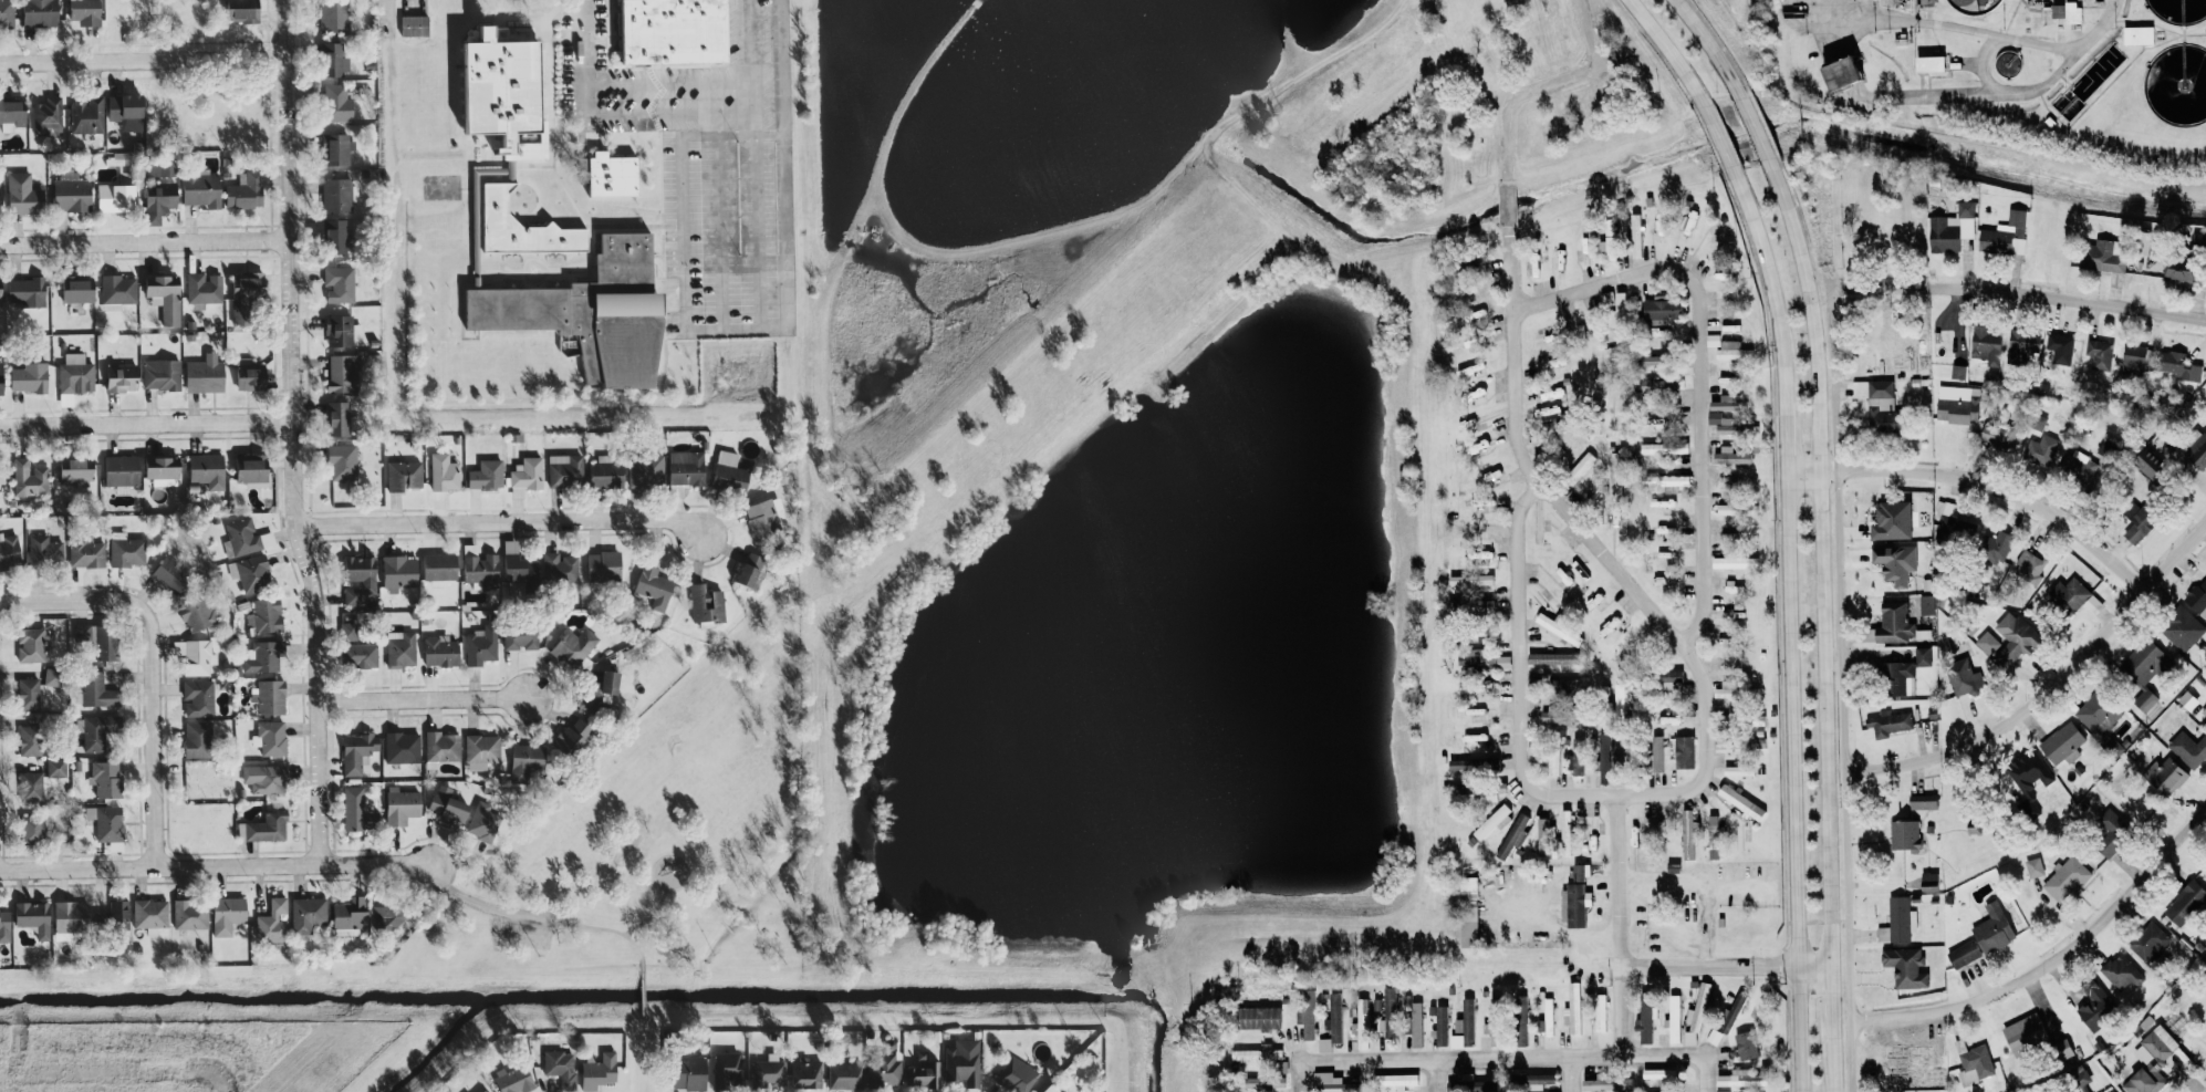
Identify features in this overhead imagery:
building: (1927, 2)
building: (243, 10)
building: (86, 11)
building: (2069, 11)
building: (7, 12)
building: (41, 12)
road: (1879, 13)
road: (1907, 13)
road: (1842, 14)
building: (334, 15)
road: (385, 15)
building: (415, 25)
road: (1959, 30)
building: (672, 31)
building: (2141, 34)
road: (585, 42)
road: (1707, 42)
road: (1665, 51)
building: (335, 58)
road: (142, 60)
building: (1935, 63)
road: (1979, 67)
wastewater plant: (2007, 73)
building: (1850, 74)
road: (655, 82)
building: (500, 89)
road: (1944, 100)
building: (337, 103)
building: (126, 106)
road: (670, 112)
building: (12, 114)
building: (87, 115)
building: (48, 116)
road: (1751, 122)
road: (1716, 135)
building: (339, 147)
road: (756, 163)
building: (160, 165)
building: (614, 175)
building: (0, 183)
river: (1577, 187)
building: (202, 189)
building: (72, 190)
building: (23, 194)
road: (787, 194)
building: (340, 195)
building: (117, 197)
building: (160, 199)
road: (721, 220)
building: (1954, 227)
building: (521, 228)
road: (683, 232)
building: (1637, 233)
building: (2007, 233)
building: (335, 236)
road: (144, 241)
building: (1613, 241)
building: (2104, 254)
building: (2183, 268)
building: (340, 283)
building: (204, 287)
building: (1, 288)
building: (79, 288)
building: (28, 290)
building: (118, 290)
road: (2018, 291)
building: (246, 293)
building: (165, 297)
building: (1619, 310)
building: (1663, 310)
building: (589, 312)
road: (721, 329)
building: (342, 330)
building: (2027, 341)
building: (1989, 343)
building: (2061, 346)
building: (1734, 350)
building: (2100, 352)
building: (2135, 357)
building: (1658, 361)
building: (1959, 363)
building: (2182, 364)
building: (344, 371)
building: (162, 373)
building: (206, 373)
building: (250, 373)
road: (1708, 374)
building: (30, 376)
building: (76, 376)
building: (123, 376)
building: (1, 377)
building: (1659, 384)
building: (1881, 396)
building: (1727, 401)
building: (1959, 403)
building: (339, 416)
building: (1658, 419)
road: (145, 424)
building: (1730, 424)
road: (291, 434)
building: (1999, 434)
building: (1666, 446)
building: (2042, 449)
building: (1732, 455)
building: (2200, 455)
building: (344, 460)
building: (1583, 464)
building: (687, 466)
building: (1617, 467)
building: (2082, 467)
building: (162, 468)
building: (647, 468)
building: (76, 469)
building: (207, 469)
building: (253, 469)
building: (565, 469)
building: (123, 470)
building: (730, 470)
building: (2, 471)
building: (445, 471)
building: (607, 471)
building: (487, 472)
building: (404, 474)
building: (526, 475)
road: (2186, 476)
building: (30, 477)
building: (1671, 478)
road: (1981, 482)
building: (1599, 487)
building: (1737, 508)
building: (767, 514)
building: (1895, 519)
road: (500, 520)
building: (1950, 521)
building: (2140, 526)
building: (1476, 527)
building: (247, 535)
building: (1998, 545)
building: (127, 549)
building: (44, 550)
building: (86, 552)
building: (1482, 553)
road: (1819, 558)
building: (1736, 560)
building: (1897, 561)
building: (519, 564)
building: (605, 564)
building: (439, 566)
building: (481, 566)
building: (560, 566)
building: (751, 568)
building: (167, 571)
building: (400, 571)
building: (253, 572)
building: (360, 578)
building: (1474, 579)
building: (2204, 584)
building: (655, 585)
building: (698, 597)
road: (34, 601)
building: (2198, 602)
building: (1928, 603)
building: (1475, 605)
building: (197, 612)
building: (267, 614)
building: (1897, 622)
road: (1790, 625)
building: (2183, 627)
building: (1561, 628)
building: (1479, 631)
building: (521, 635)
building: (101, 638)
building: (33, 643)
building: (481, 644)
building: (1636, 645)
building: (574, 646)
building: (402, 647)
road: (1841, 648)
building: (441, 649)
building: (2152, 651)
building: (196, 654)
building: (360, 654)
building: (263, 656)
building: (1553, 657)
building: (1478, 659)
building: (1505, 659)
building: (1907, 670)
building: (1673, 674)
building: (52, 675)
building: (1963, 675)
building: (1552, 682)
road: (2048, 684)
building: (1731, 688)
building: (97, 689)
building: (600, 689)
building: (29, 693)
building: (269, 695)
building: (198, 696)
road: (423, 699)
road: (150, 700)
building: (2147, 700)
building: (2099, 709)
road: (1699, 710)
building: (1555, 713)
building: (1728, 717)
building: (1888, 722)
building: (96, 729)
building: (575, 734)
building: (270, 736)
building: (198, 738)
building: (31, 739)
building: (1740, 739)
building: (2063, 743)
building: (443, 745)
building: (403, 746)
building: (2189, 749)
building: (357, 750)
building: (481, 750)
building: (1685, 750)
building: (1552, 751)
building: (1658, 752)
building: (1577, 755)
building: (526, 760)
building: (1488, 763)
building: (56, 767)
building: (1740, 769)
building: (2032, 770)
building: (1606, 771)
building: (2166, 776)
building: (266, 777)
building: (105, 778)
building: (31, 786)
building: (1479, 789)
building: (1744, 801)
building: (1923, 801)
building: (448, 803)
building: (402, 804)
building: (354, 807)
building: (1568, 819)
building: (1494, 820)
building: (483, 821)
building: (107, 823)
building: (32, 826)
building: (264, 826)
park: (666, 830)
building: (1692, 832)
building: (2111, 832)
building: (1905, 833)
building: (1515, 834)
building: (1544, 835)
building: (1715, 846)
road: (214, 866)
building: (2035, 866)
building: (2065, 878)
road: (681, 884)
road: (1698, 894)
building: (1578, 896)
building: (2186, 902)
road: (482, 903)
building: (1470, 911)
building: (150, 912)
building: (388, 912)
building: (119, 913)
building: (191, 913)
building: (228, 913)
building: (308, 914)
building: (352, 915)
building: (34, 916)
road: (648, 916)
building: (71, 917)
road: (1823, 919)
building: (273, 921)
building: (1898, 921)
road: (1622, 923)
building: (4, 925)
road: (1557, 927)
building: (1994, 928)
road: (608, 929)
building: (2150, 942)
building: (1965, 953)
road: (2053, 959)
building: (1906, 967)
road: (1727, 968)
building: (2122, 971)
road: (642, 997)
road: (1831, 1002)
building: (2096, 1003)
building: (1590, 1005)
building: (1698, 1007)
building: (1574, 1008)
building: (1386, 1012)
building: (1601, 1012)
building: (1544, 1016)
building: (1260, 1017)
building: (1335, 1017)
building: (1308, 1019)
building: (1674, 1019)
building: (1413, 1020)
building: (1469, 1021)
building: (1645, 1021)
building: (1362, 1022)
building: (1442, 1025)
building: (1459, 1025)
building: (2026, 1032)
building: (1713, 1036)
building: (1689, 1038)
building: (1457, 1041)
building: (1746, 1044)
building: (2164, 1048)
building: (2062, 1049)
building: (1258, 1053)
road: (644, 1055)
road: (1516, 1059)
building: (962, 1062)
building: (1974, 1062)
building: (561, 1063)
road: (1832, 1065)
building: (727, 1069)
building: (599, 1071)
building: (688, 1072)
building: (767, 1072)
building: (805, 1072)
building: (924, 1074)
building: (1017, 1074)
building: (1661, 1074)
building: (2080, 1074)
building: (2146, 1074)
building: (844, 1075)
road: (1579, 1077)
building: (1741, 1078)
building: (513, 1079)
building: (1395, 1079)
road: (1440, 1079)
building: (1540, 1079)
building: (1265, 1081)
building: (1609, 1082)
building: (1334, 1083)
building: (1050, 1089)
building: (2084, 1089)
building: (480, 1090)
building: (1723, 1090)
building: (2111, 1090)
building: (467, 1091)

